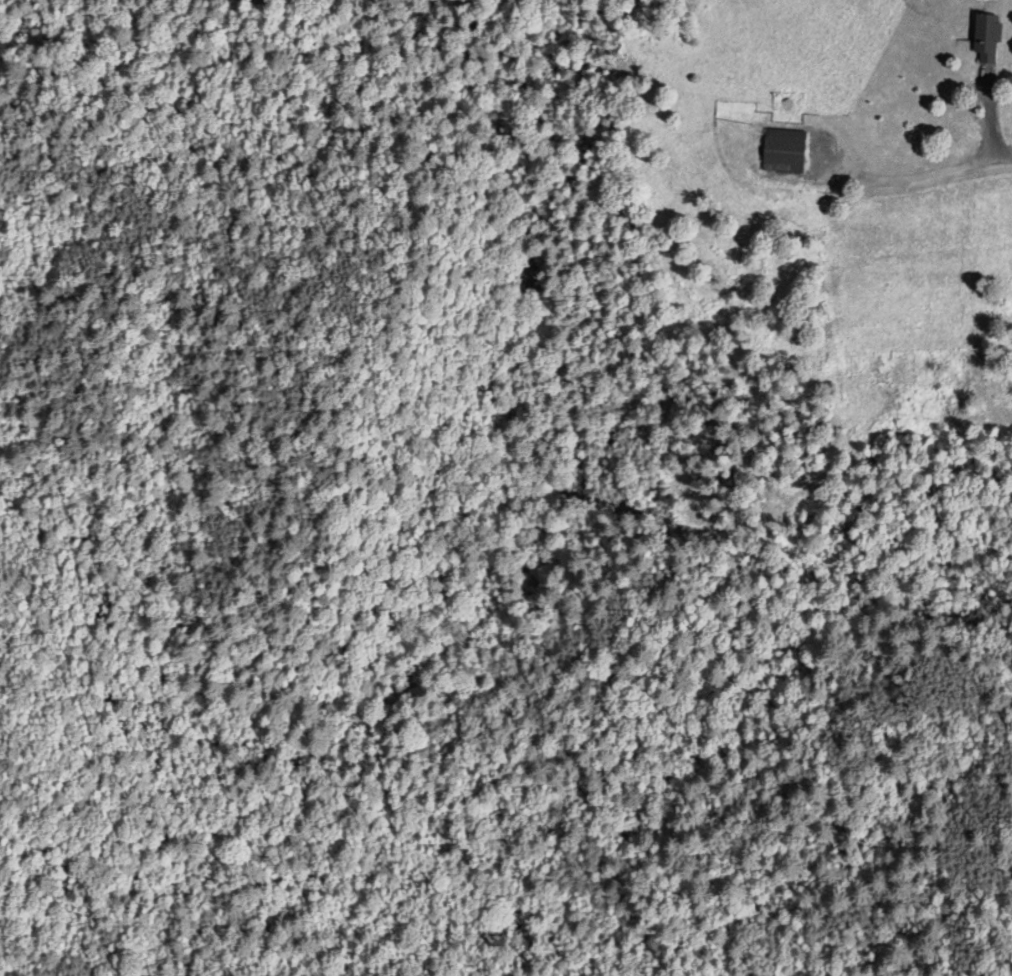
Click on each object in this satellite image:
building: (984, 38)
building: (783, 152)
road: (919, 174)

